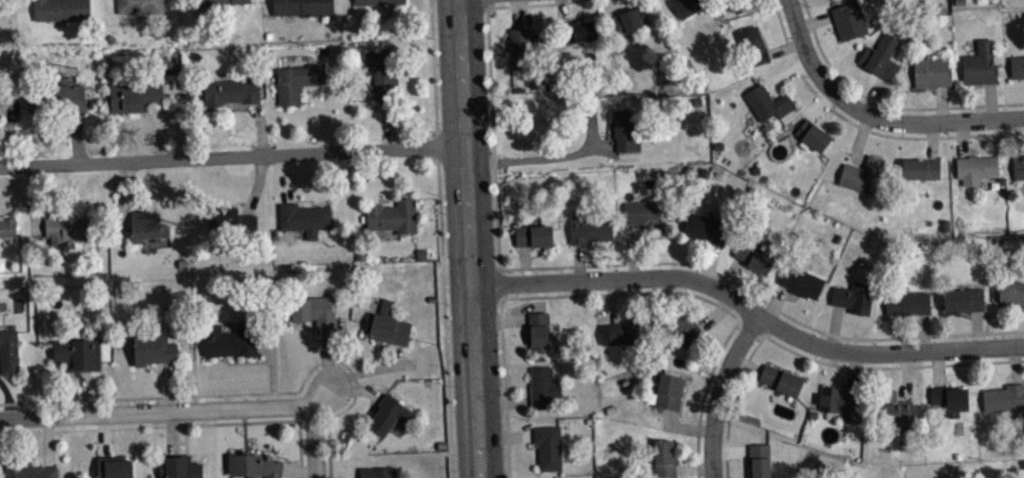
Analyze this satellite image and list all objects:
building: (218, 1)
building: (376, 2)
road: (487, 4)
building: (140, 6)
building: (302, 7)
building: (690, 7)
building: (61, 9)
building: (628, 20)
building: (848, 20)
building: (575, 32)
building: (521, 46)
building: (752, 46)
building: (880, 56)
building: (979, 64)
building: (1016, 67)
building: (931, 71)
road: (433, 73)
building: (381, 74)
building: (297, 81)
building: (231, 91)
road: (491, 94)
building: (132, 95)
building: (57, 101)
building: (767, 103)
road: (884, 105)
road: (873, 115)
road: (863, 127)
building: (626, 128)
building: (811, 136)
road: (232, 155)
building: (1018, 167)
building: (974, 168)
building: (921, 169)
building: (862, 174)
building: (393, 216)
building: (643, 216)
building: (305, 218)
building: (231, 219)
building: (148, 225)
building: (7, 226)
building: (706, 226)
building: (70, 228)
building: (589, 228)
building: (533, 235)
road: (469, 238)
building: (754, 257)
building: (799, 281)
road: (498, 283)
building: (1011, 292)
road: (622, 293)
building: (852, 297)
road: (761, 299)
building: (963, 299)
building: (907, 303)
road: (749, 308)
building: (314, 312)
road: (443, 312)
building: (387, 325)
road: (752, 326)
building: (683, 327)
building: (537, 331)
building: (625, 331)
building: (229, 340)
building: (154, 349)
building: (9, 352)
building: (77, 353)
road: (713, 366)
road: (890, 367)
building: (780, 379)
road: (503, 388)
building: (543, 388)
building: (667, 391)
road: (720, 391)
road: (246, 392)
building: (1004, 398)
building: (949, 399)
road: (731, 402)
building: (838, 403)
building: (893, 407)
road: (156, 410)
building: (388, 414)
road: (177, 425)
road: (314, 440)
building: (548, 446)
road: (697, 448)
building: (664, 459)
building: (759, 460)
building: (255, 465)
building: (113, 467)
building: (178, 467)
building: (29, 471)
building: (377, 472)

